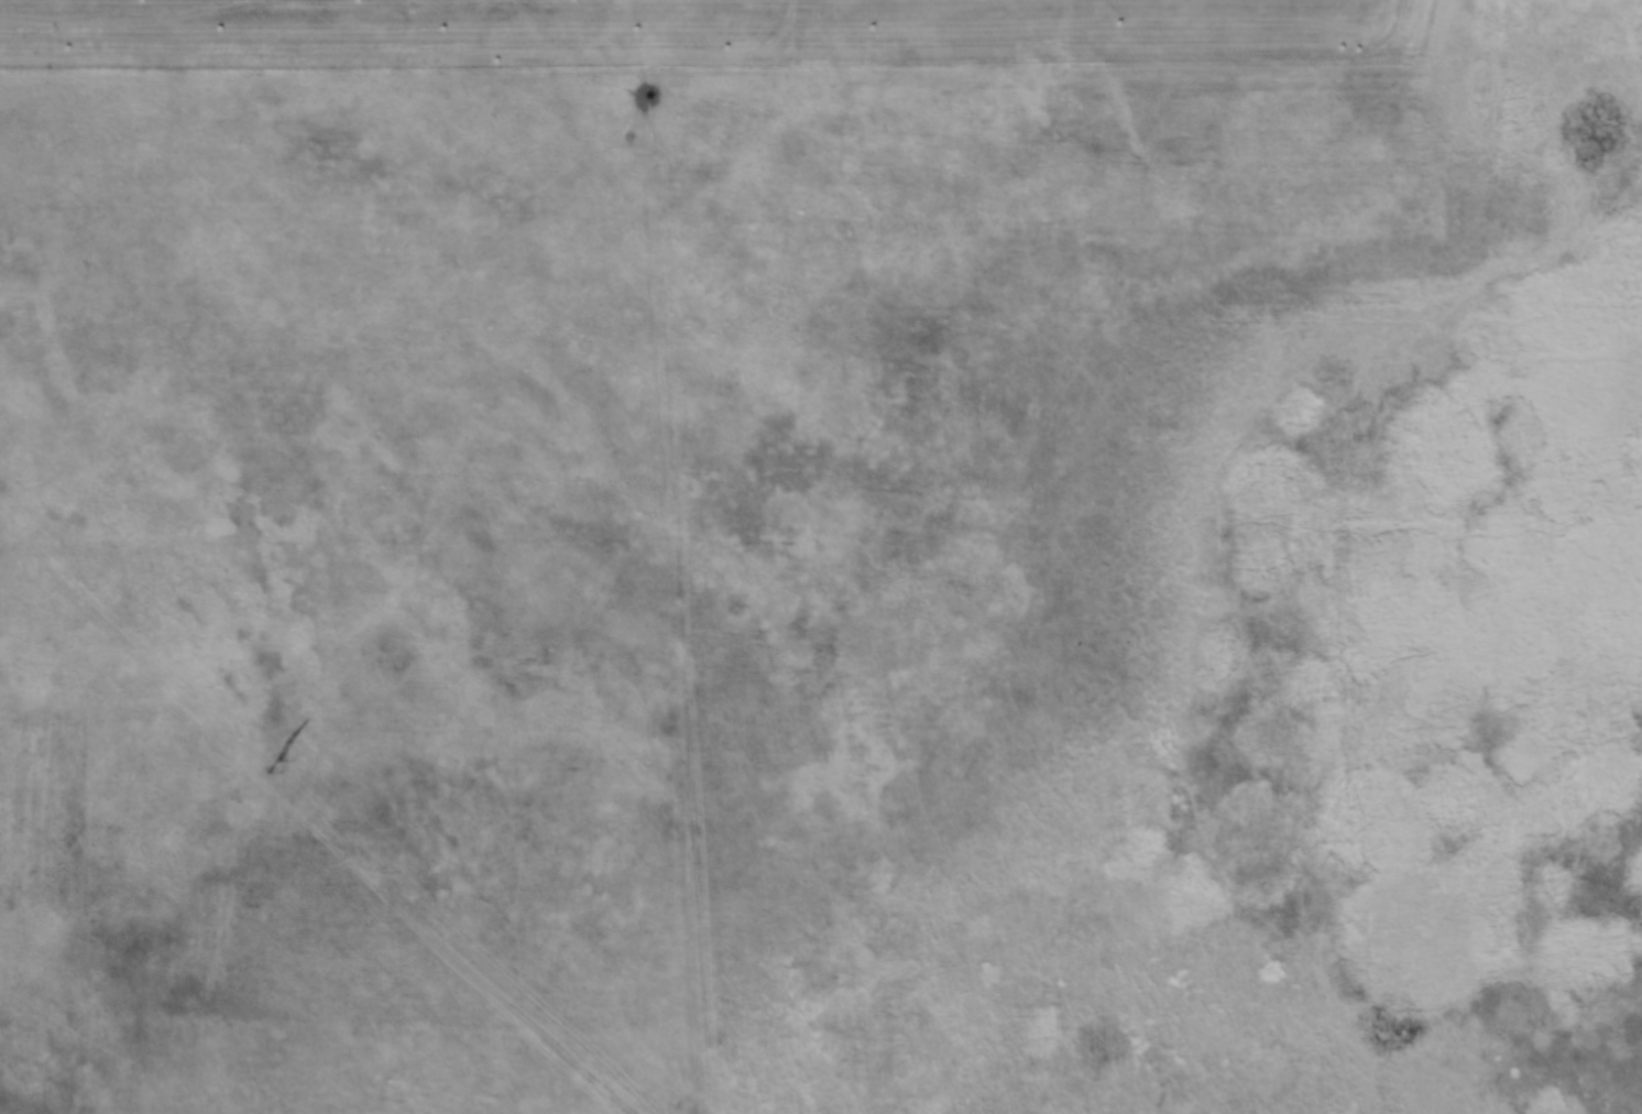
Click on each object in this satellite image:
power tower: (273, 765)

